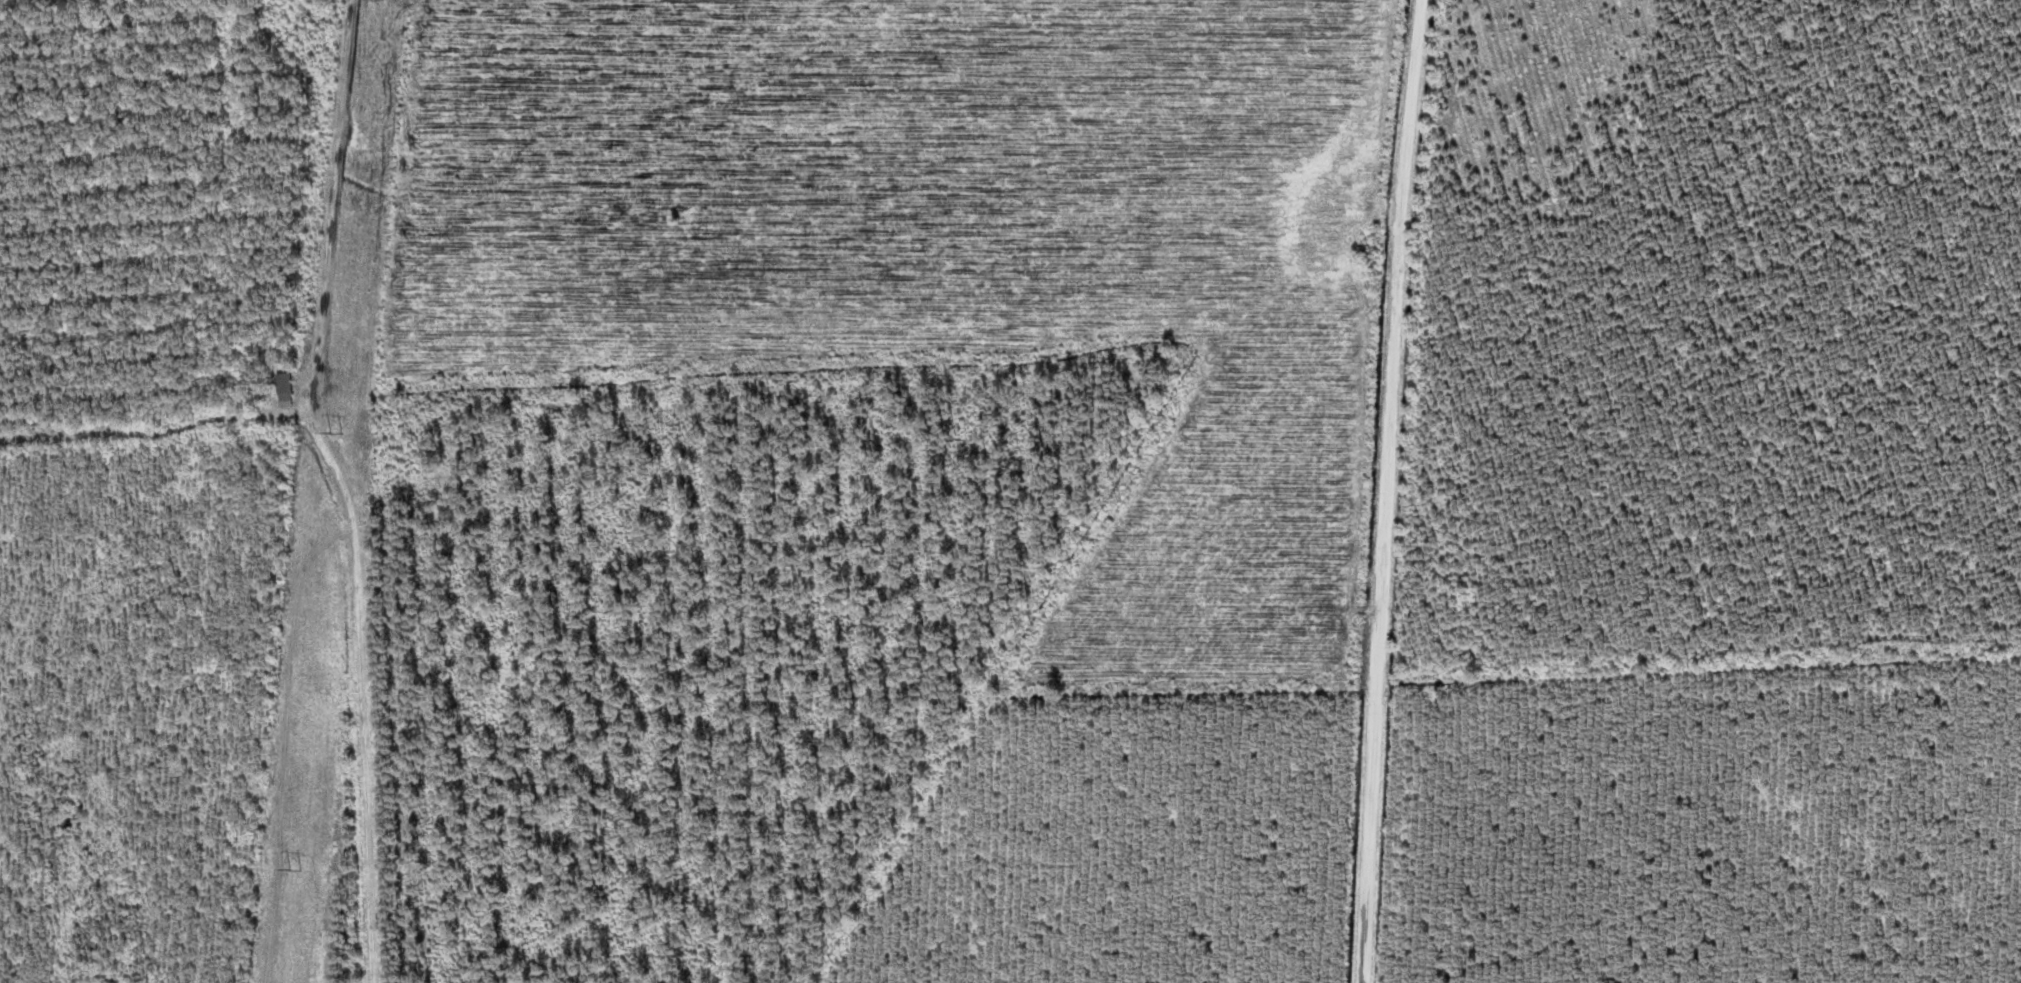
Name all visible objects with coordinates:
building: (289, 389)
power tower: (340, 435)
road: (1437, 491)
road: (372, 770)
power tower: (296, 872)

